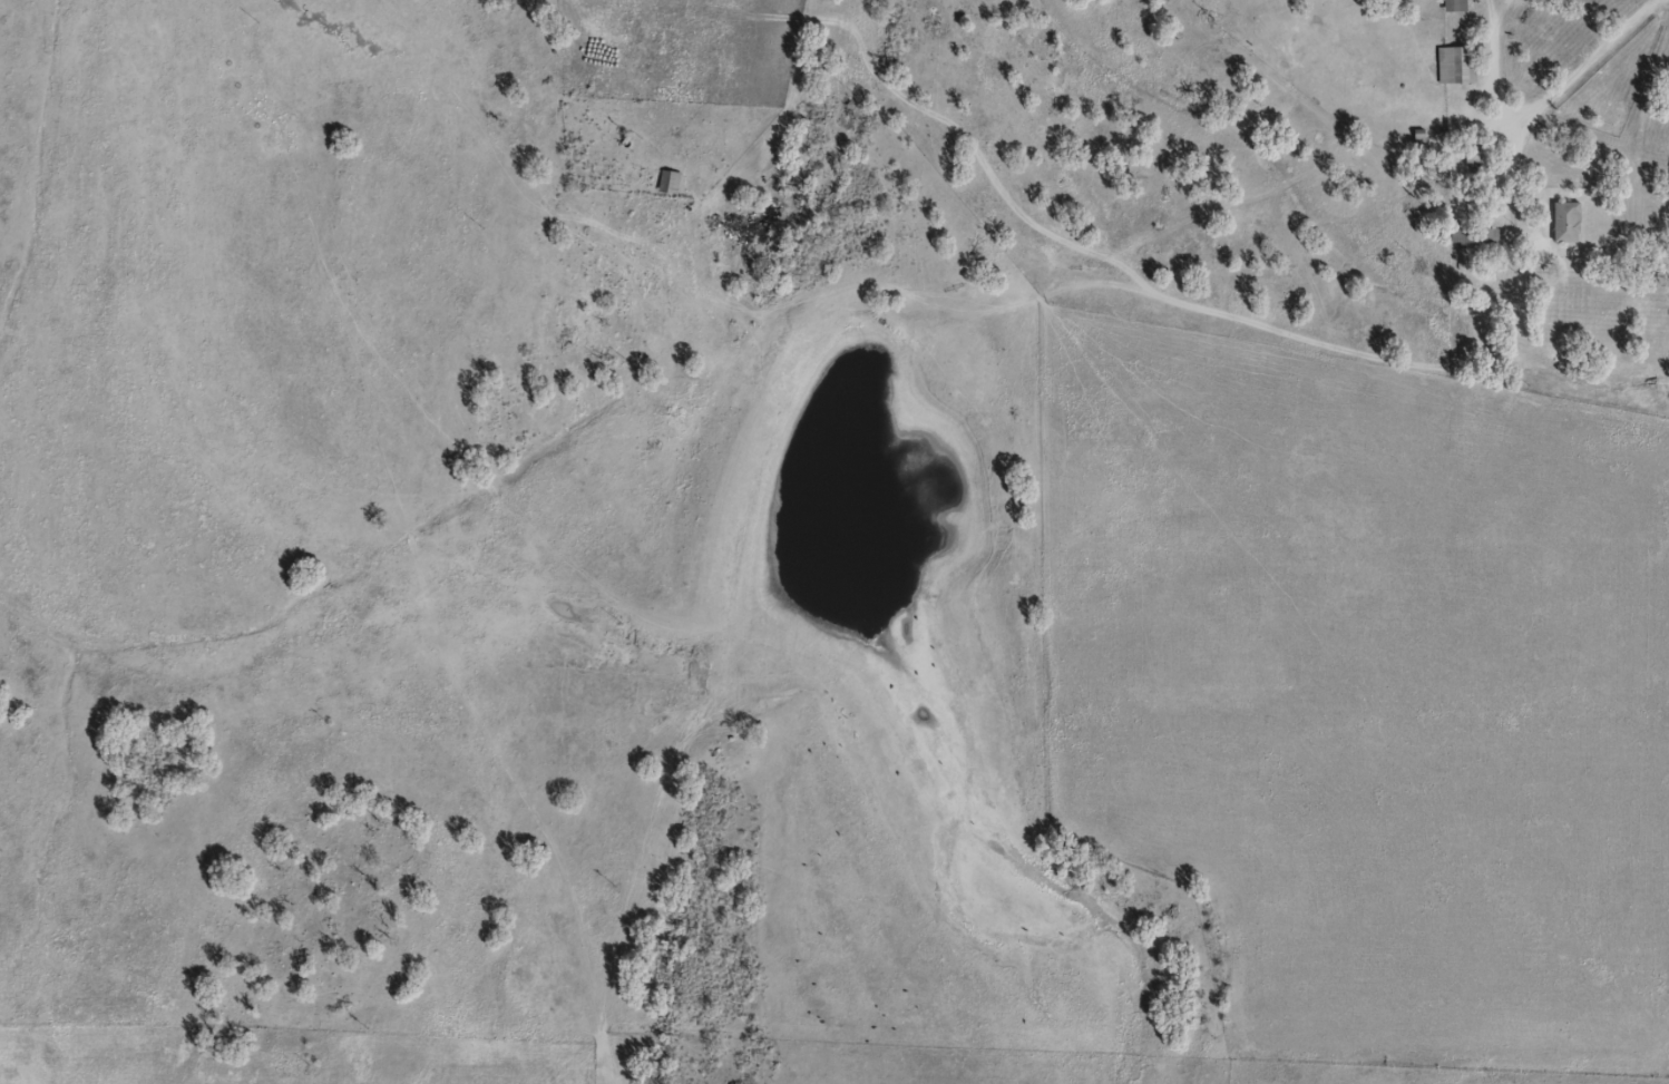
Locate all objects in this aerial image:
building: (1455, 6)
building: (1457, 66)
building: (1471, 160)
building: (668, 183)
building: (1565, 223)
building: (1474, 236)
road: (1112, 250)

